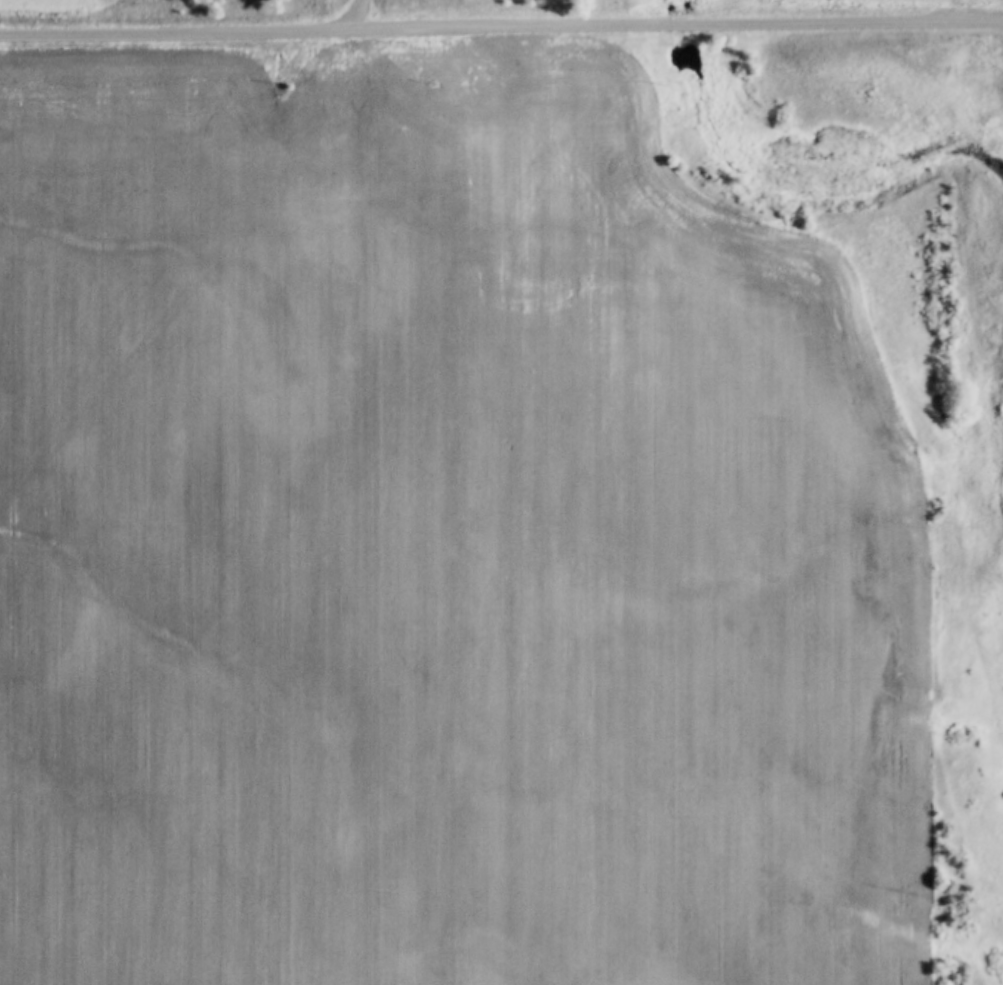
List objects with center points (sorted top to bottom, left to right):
road: (351, 14)
road: (501, 27)

